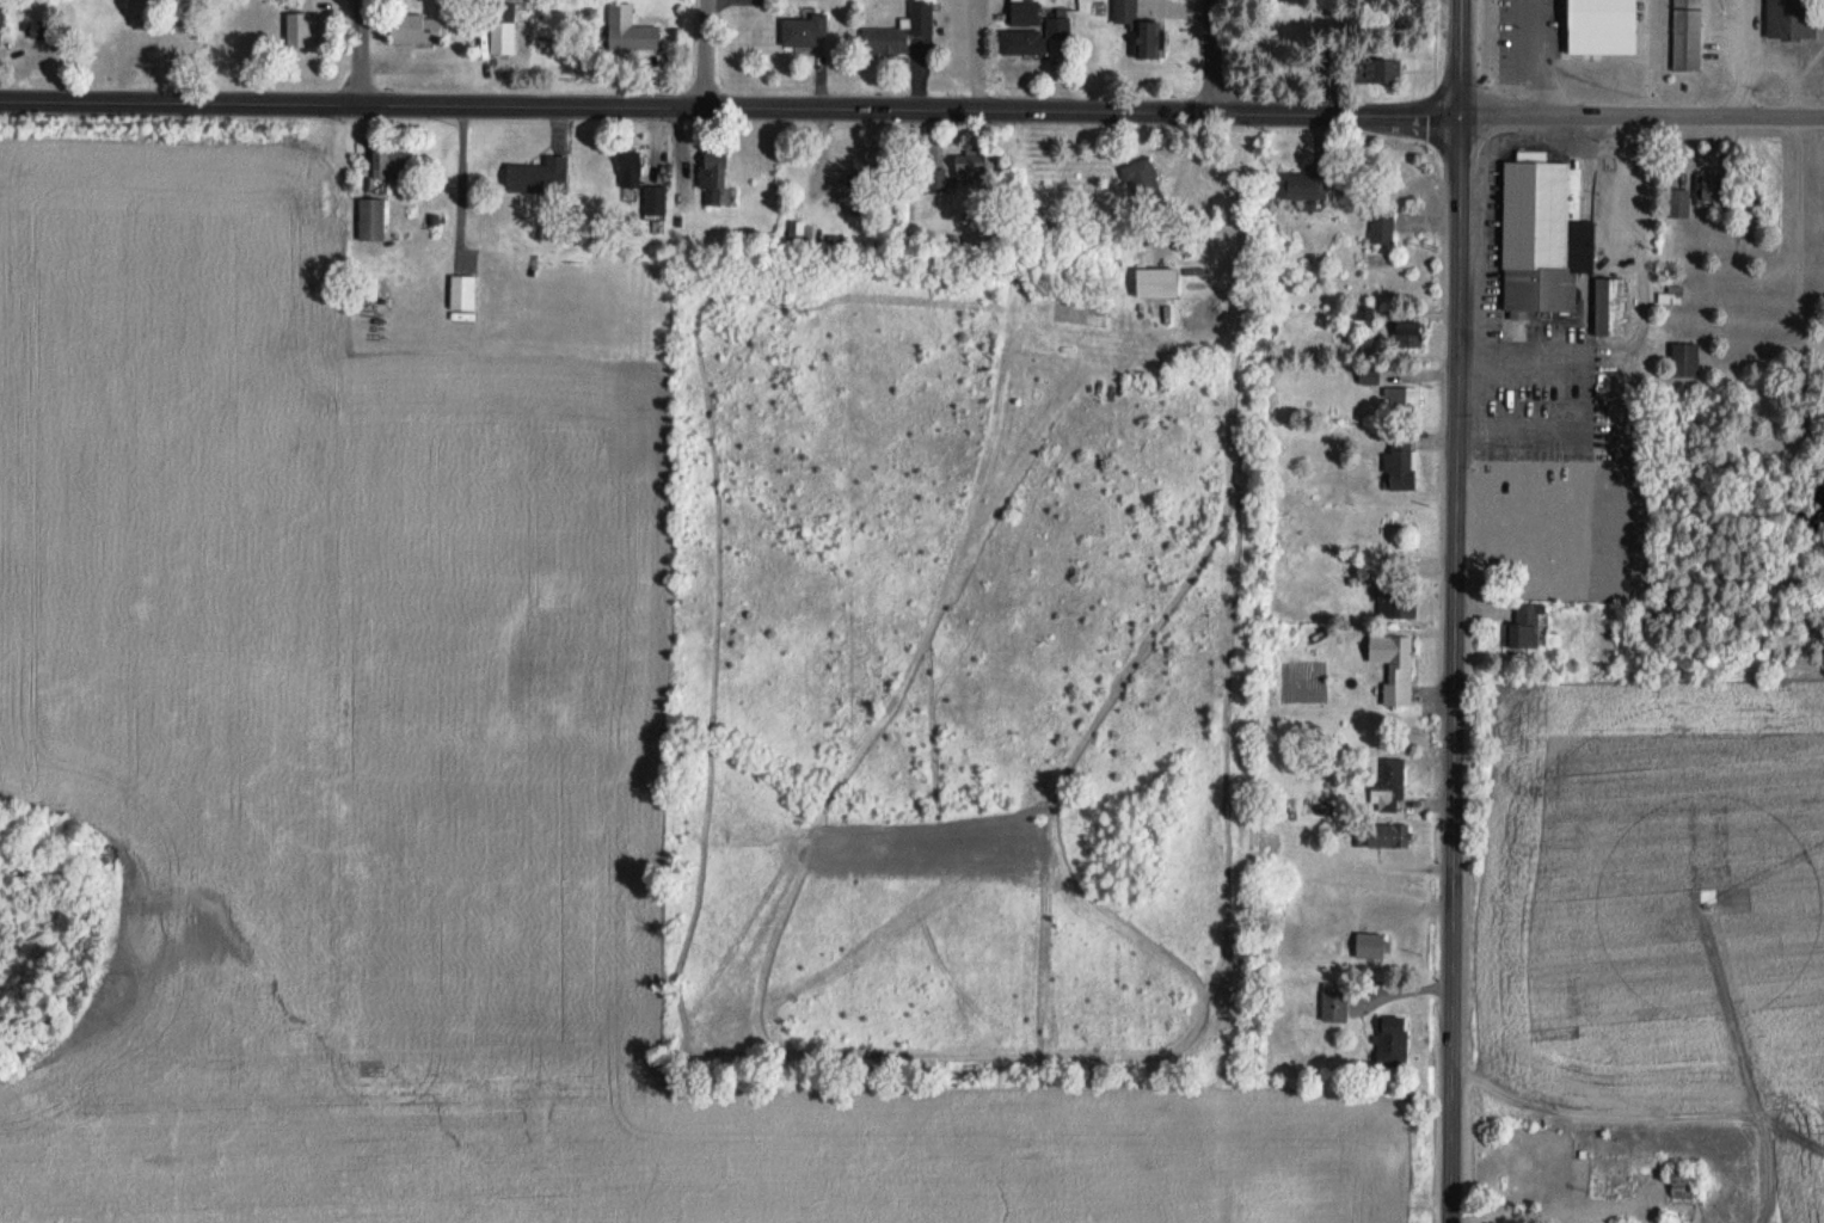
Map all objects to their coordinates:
building: (502, 11)
building: (1124, 11)
building: (1024, 12)
building: (1, 13)
building: (1791, 18)
building: (1544, 19)
building: (300, 24)
building: (417, 26)
building: (39, 29)
building: (628, 29)
building: (802, 29)
building: (898, 31)
building: (1685, 35)
building: (1033, 36)
building: (1149, 38)
road: (360, 51)
road: (706, 53)
road: (1456, 53)
road: (1214, 54)
road: (1536, 55)
building: (1376, 69)
road: (727, 105)
road: (1639, 112)
building: (389, 160)
building: (972, 166)
building: (628, 167)
building: (877, 171)
building: (538, 176)
building: (712, 178)
building: (1141, 178)
building: (1302, 183)
building: (1708, 189)
building: (855, 191)
building: (653, 199)
building: (1677, 203)
building: (370, 219)
building: (1381, 225)
building: (1542, 233)
building: (1155, 282)
building: (461, 290)
building: (1609, 306)
building: (1407, 333)
building: (1684, 359)
building: (1401, 397)
building: (1399, 462)
building: (1524, 552)
building: (1395, 601)
building: (1527, 634)
road: (1451, 664)
building: (1393, 665)
building: (1387, 786)
building: (1387, 834)
building: (1370, 945)
building: (1333, 1004)
building: (1390, 1040)
building: (1681, 1182)

